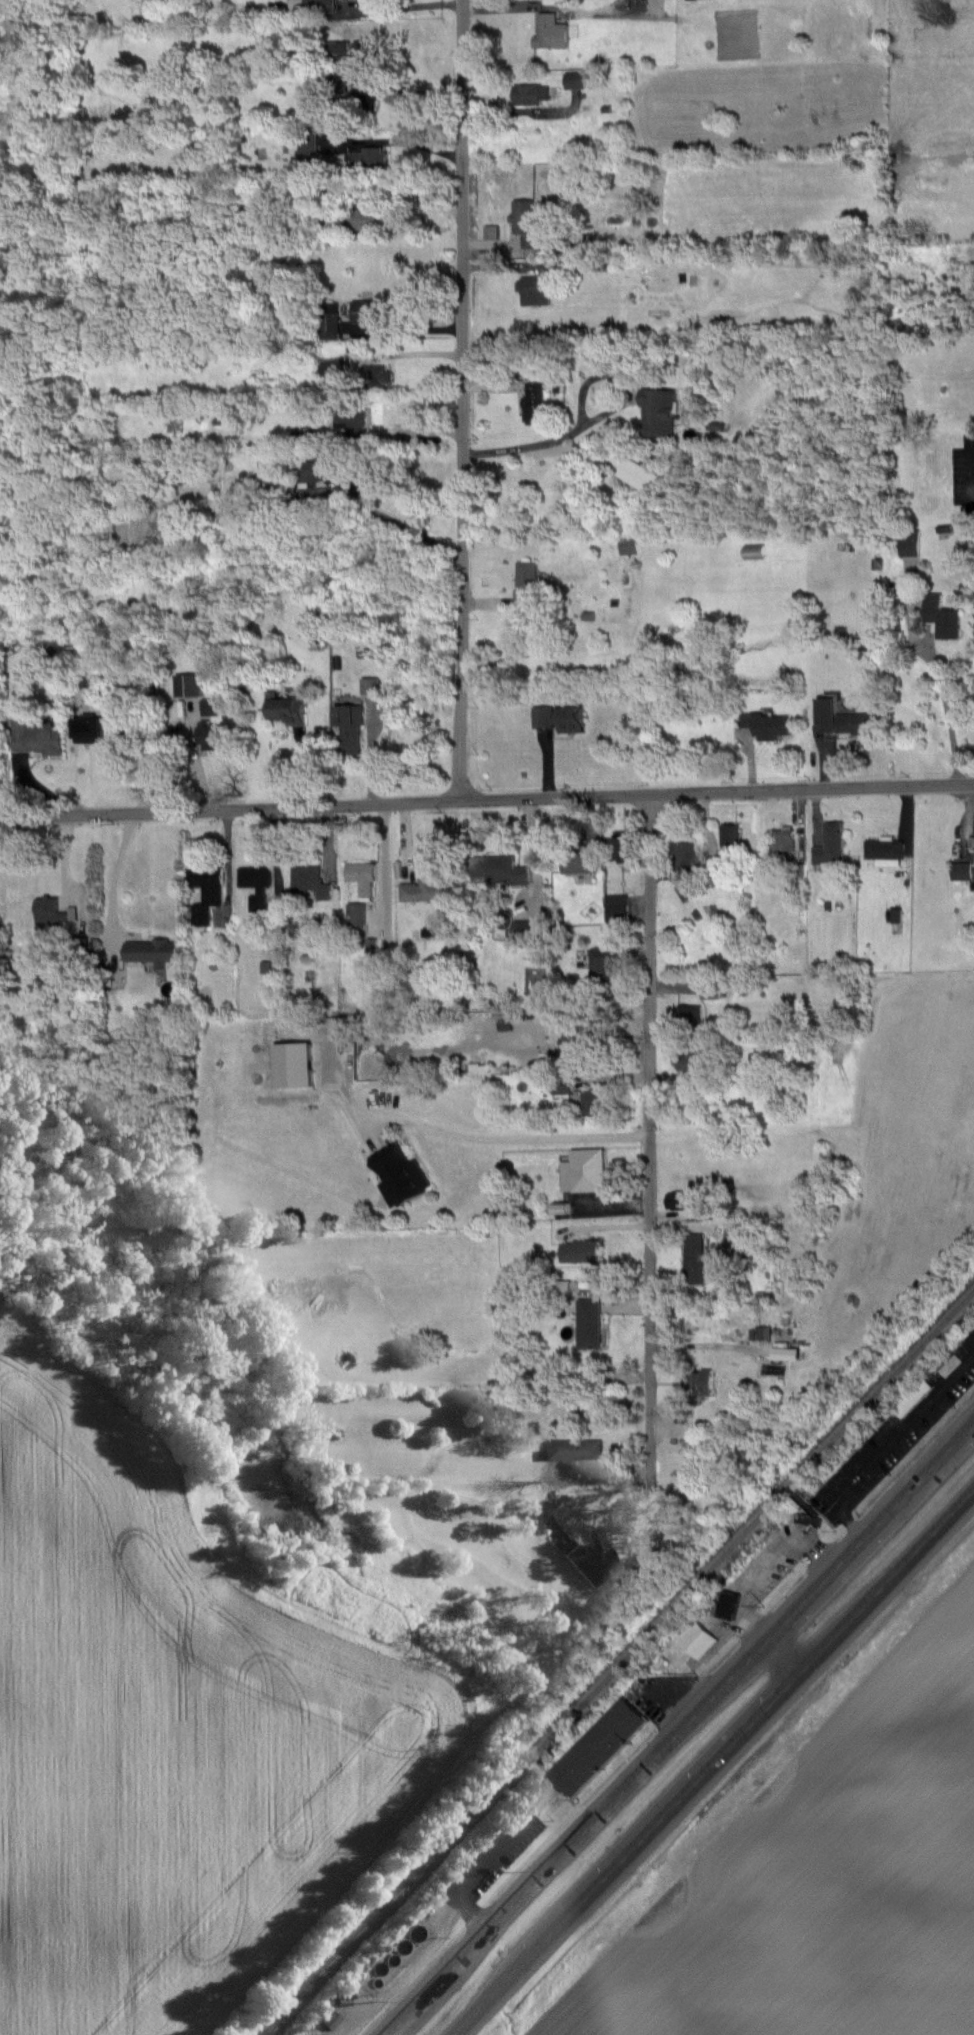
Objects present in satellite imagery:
road: (408, 5)
building: (550, 31)
building: (355, 53)
building: (340, 79)
building: (575, 80)
road: (414, 89)
building: (528, 93)
road: (524, 110)
building: (307, 145)
building: (371, 157)
building: (369, 217)
building: (526, 223)
building: (535, 289)
building: (369, 311)
building: (331, 324)
building: (331, 365)
building: (374, 376)
road: (461, 400)
building: (533, 403)
building: (658, 410)
road: (598, 414)
building: (352, 418)
building: (316, 429)
building: (318, 468)
road: (972, 474)
road: (399, 522)
building: (909, 542)
building: (628, 545)
building: (754, 551)
building: (527, 583)
building: (941, 616)
building: (189, 684)
building: (370, 686)
building: (210, 706)
building: (285, 708)
road: (946, 712)
building: (543, 716)
building: (572, 716)
building: (842, 718)
building: (766, 724)
building: (88, 727)
building: (351, 727)
building: (212, 735)
building: (37, 736)
road: (487, 799)
building: (729, 837)
building: (782, 839)
building: (623, 845)
building: (829, 848)
building: (883, 848)
building: (577, 858)
building: (684, 858)
building: (498, 869)
building: (962, 870)
road: (116, 871)
building: (362, 875)
building: (308, 882)
building: (256, 884)
building: (428, 889)
building: (686, 890)
building: (206, 891)
building: (616, 907)
building: (52, 912)
building: (356, 915)
building: (152, 951)
building: (603, 966)
building: (689, 1014)
building: (579, 1037)
building: (693, 1059)
building: (563, 1088)
building: (597, 1103)
road: (648, 1133)
road: (514, 1139)
building: (583, 1170)
building: (401, 1172)
building: (682, 1200)
building: (733, 1235)
building: (580, 1251)
building: (693, 1257)
building: (590, 1322)
building: (786, 1353)
building: (699, 1382)
building: (915, 1396)
road: (891, 1443)
building: (572, 1449)
building: (810, 1520)
building: (584, 1561)
road: (621, 1561)
road: (769, 1567)
building: (726, 1604)
building: (698, 1639)
railway: (619, 1662)
road: (680, 1727)
building: (598, 1746)
road: (713, 1762)
road: (472, 1878)
building: (330, 2020)

